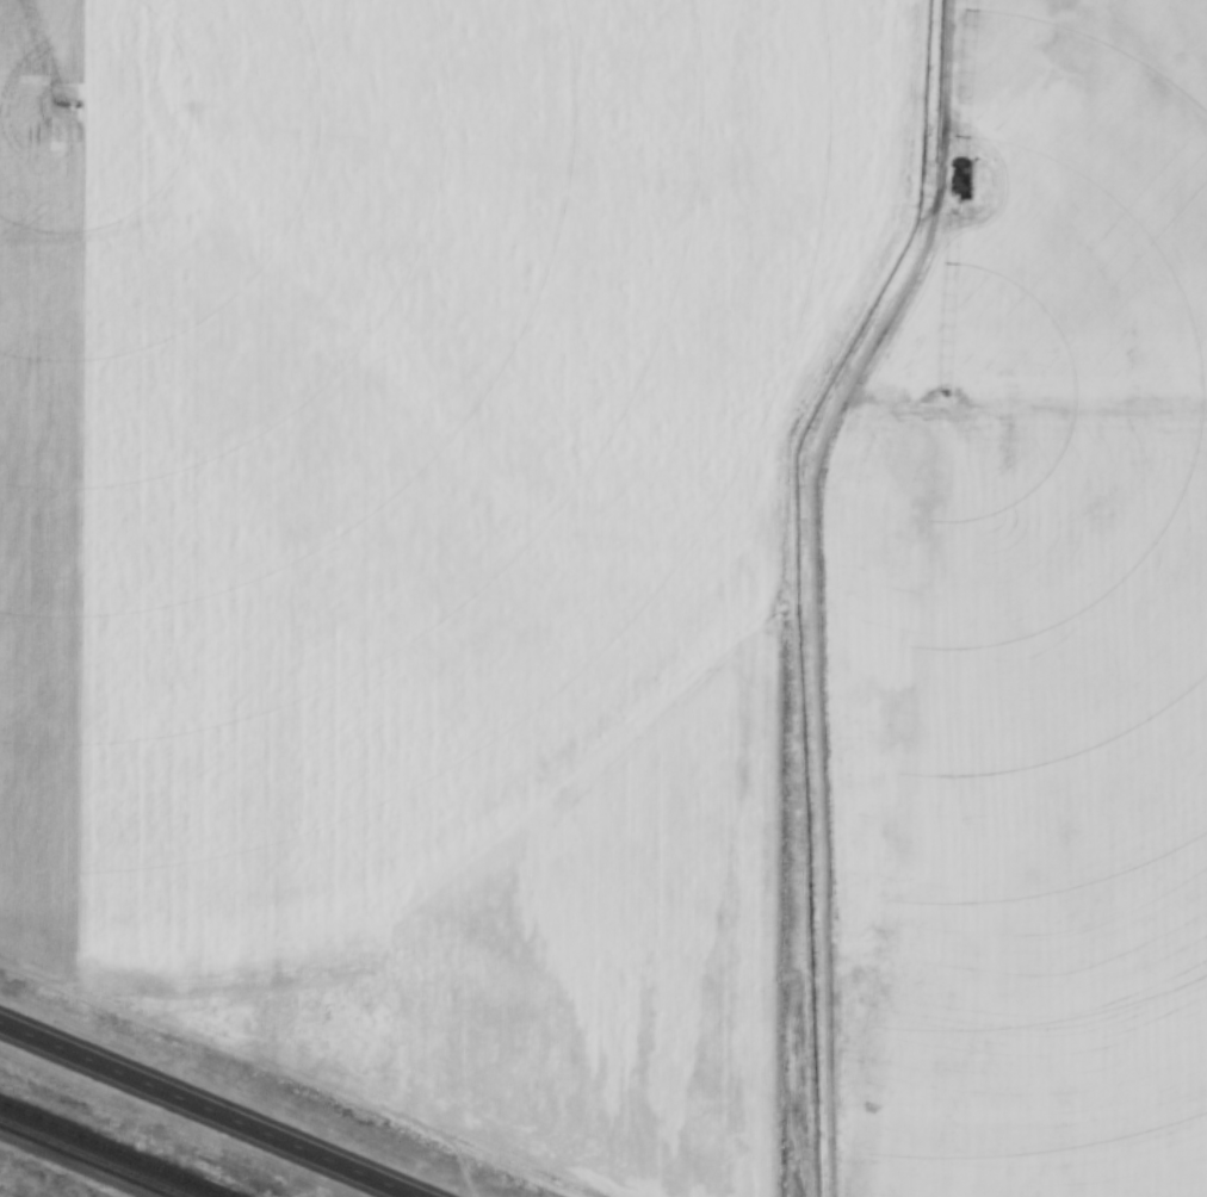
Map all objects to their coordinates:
road: (210, 1109)
railway: (114, 1148)
railway: (93, 1158)

